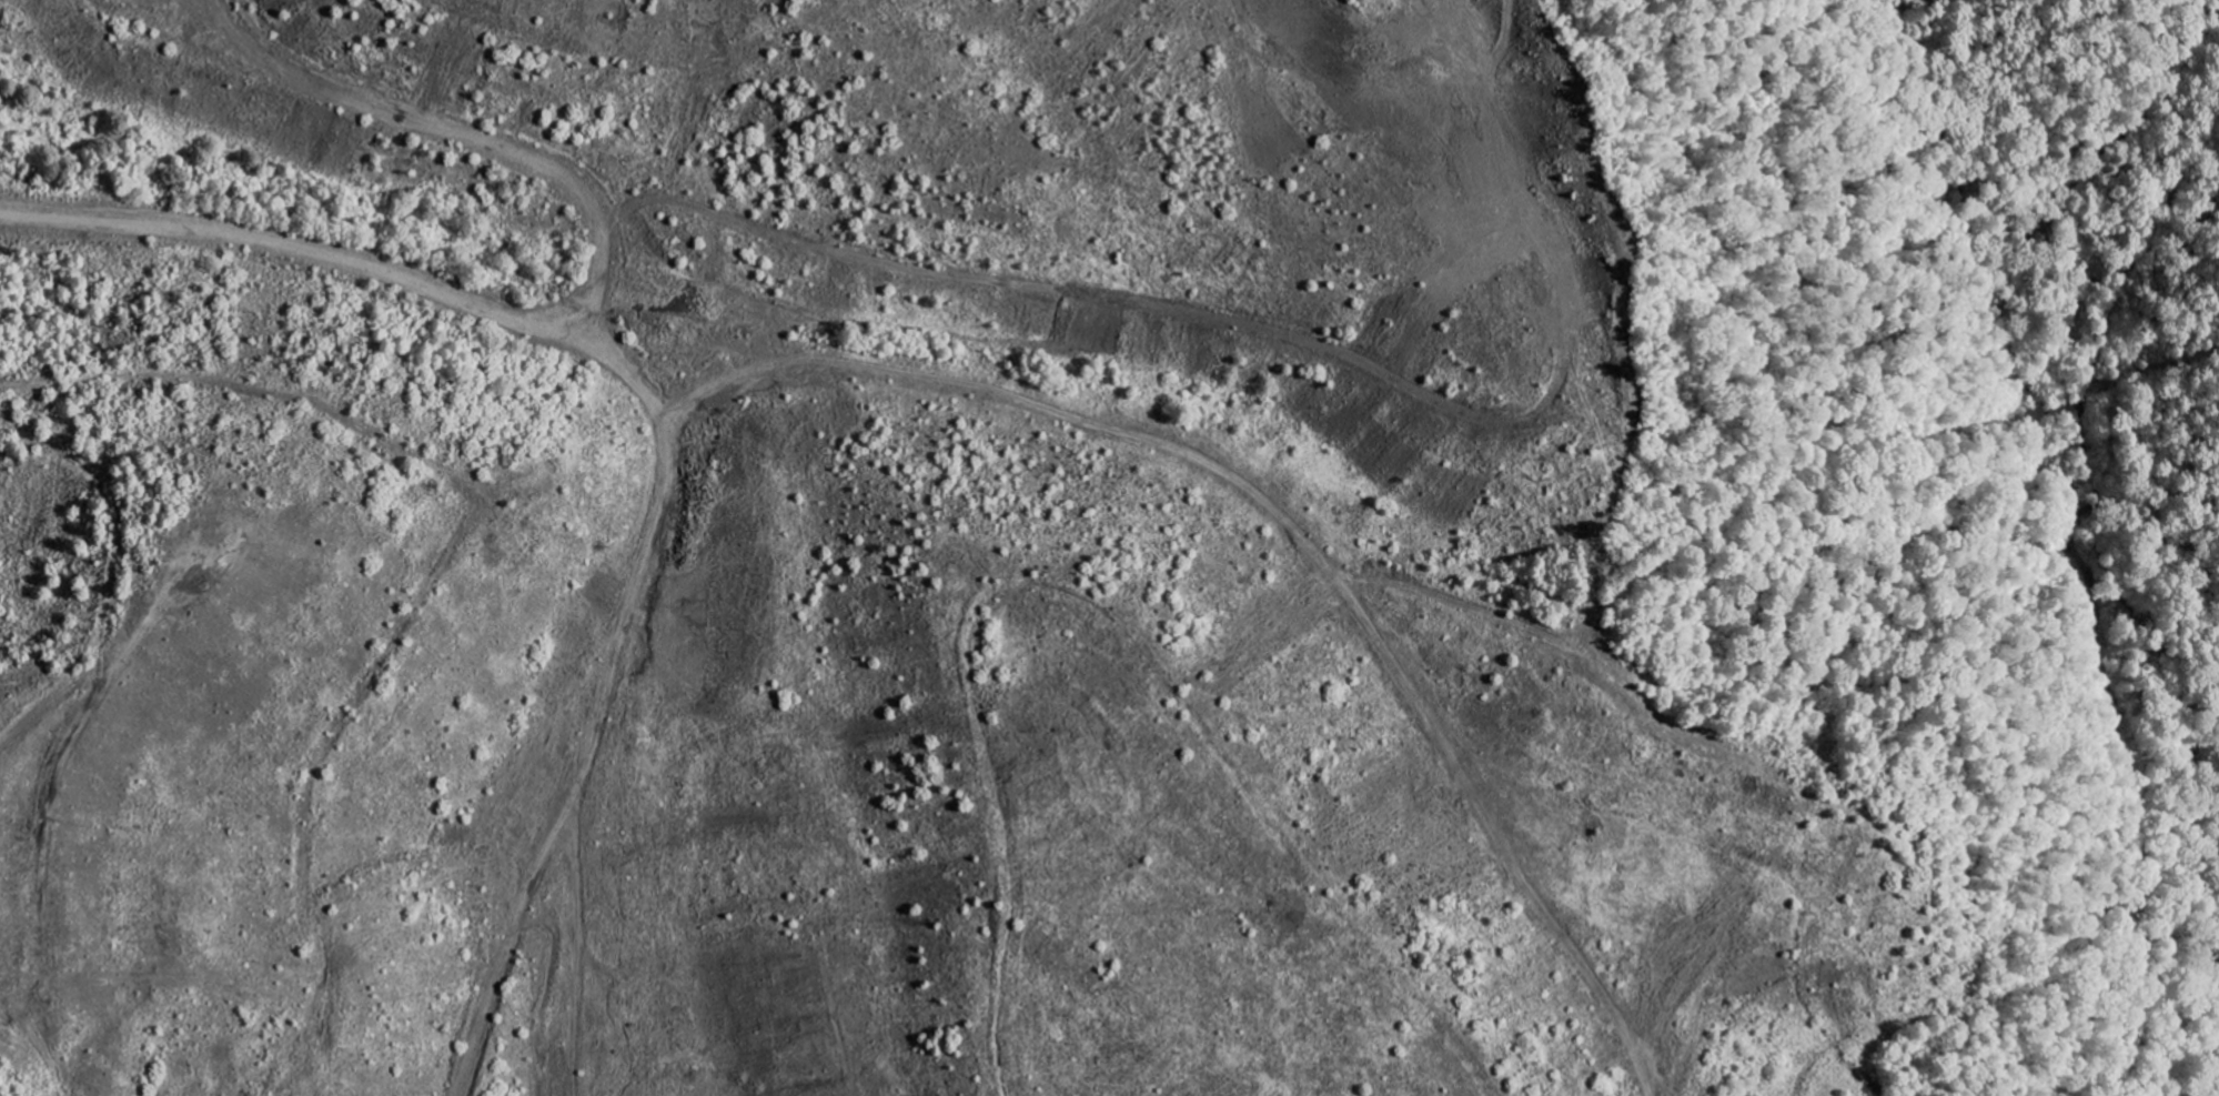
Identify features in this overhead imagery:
road: (609, 364)

